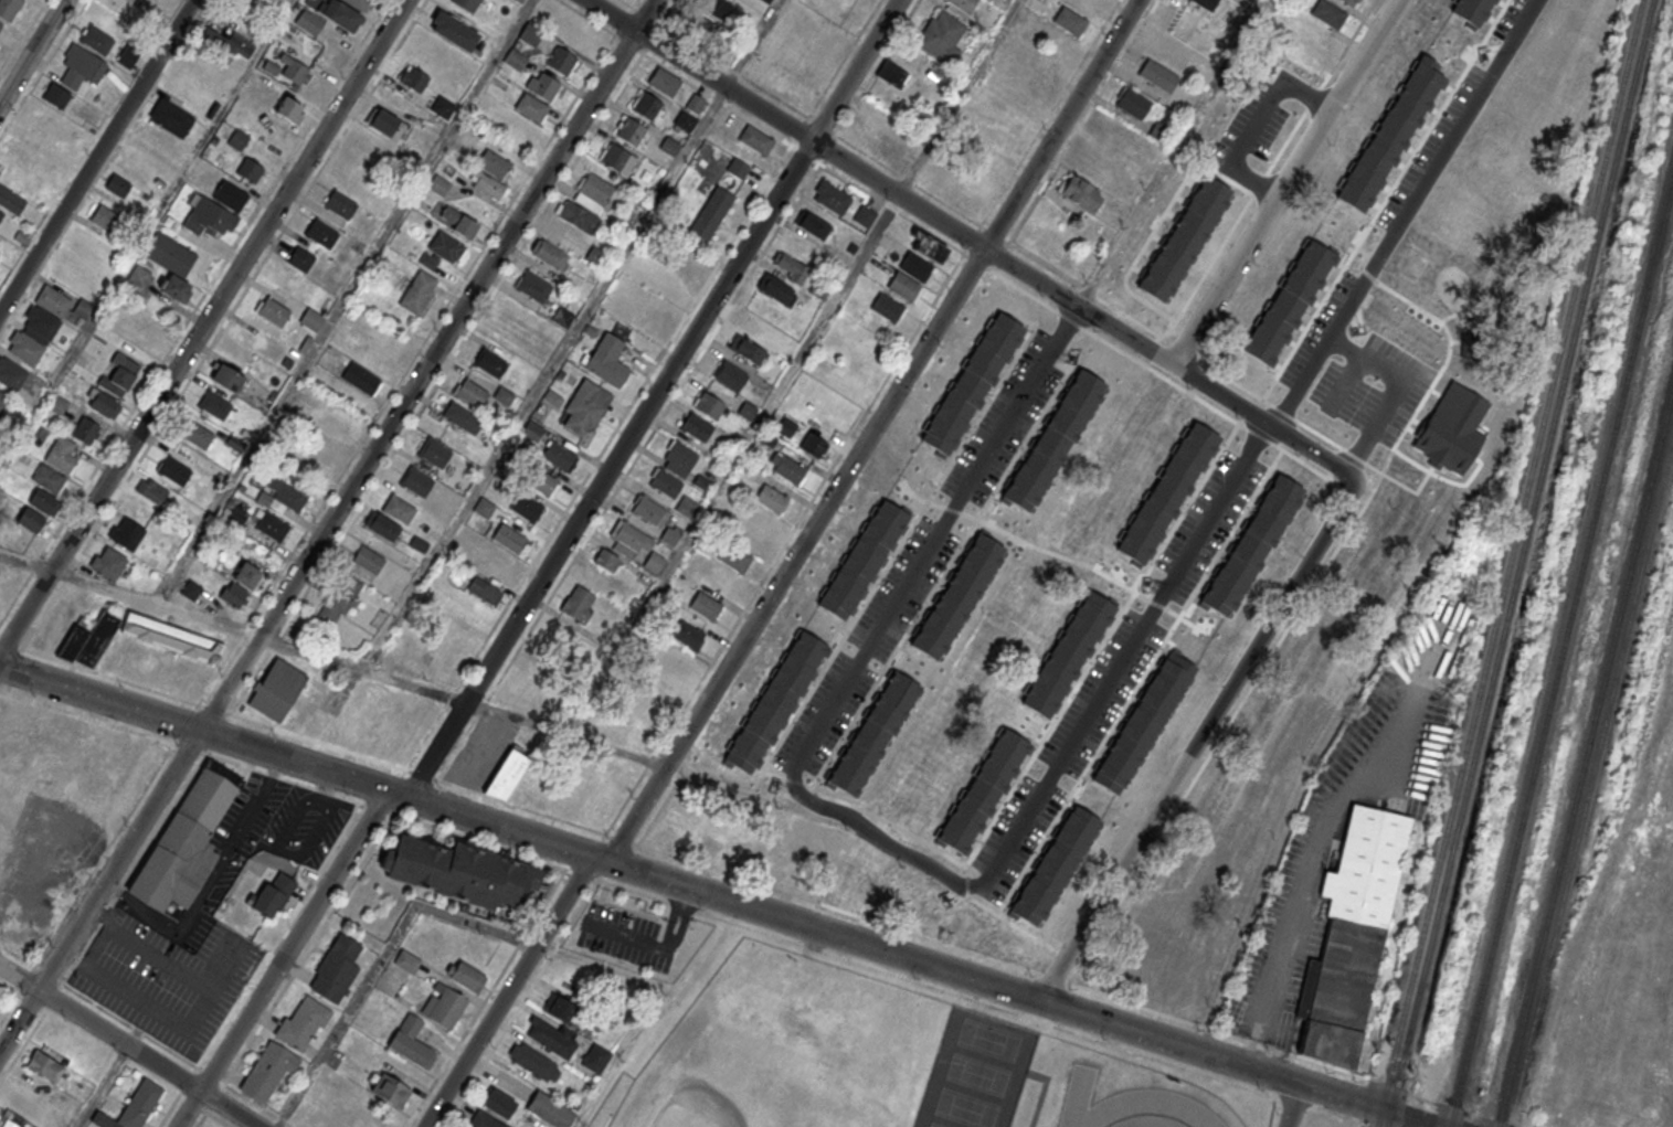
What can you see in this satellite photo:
building: (519, 0)
building: (766, 1)
building: (1349, 1)
building: (356, 3)
building: (1206, 3)
building: (466, 4)
building: (963, 4)
building: (716, 7)
building: (9, 8)
building: (1466, 10)
building: (1327, 13)
building: (342, 15)
building: (1070, 21)
building: (309, 22)
building: (1, 24)
building: (700, 28)
building: (454, 30)
building: (576, 33)
building: (530, 34)
road: (1353, 35)
building: (942, 36)
road: (23, 38)
building: (97, 40)
road: (754, 43)
building: (229, 44)
road: (32, 52)
road: (1364, 54)
building: (128, 56)
building: (515, 59)
building: (562, 60)
building: (82, 65)
building: (893, 74)
building: (1158, 75)
building: (413, 77)
building: (664, 81)
building: (543, 85)
building: (57, 96)
road: (960, 98)
building: (1132, 102)
building: (695, 103)
building: (647, 105)
building: (442, 106)
building: (531, 106)
building: (288, 109)
building: (1267, 110)
building: (170, 117)
building: (685, 120)
road: (1082, 121)
road: (1256, 121)
building: (384, 123)
road: (785, 124)
road: (1060, 124)
building: (631, 130)
road: (830, 130)
building: (1160, 130)
building: (1385, 135)
building: (1407, 136)
building: (864, 138)
building: (755, 139)
building: (1000, 139)
road: (1033, 139)
building: (669, 145)
building: (1150, 148)
road: (1172, 151)
road: (97, 156)
building: (617, 158)
building: (494, 162)
road: (103, 166)
building: (737, 167)
building: (251, 170)
building: (438, 184)
building: (117, 185)
building: (489, 185)
building: (595, 188)
building: (1081, 192)
building: (962, 194)
building: (230, 196)
building: (830, 196)
building: (11, 200)
road: (549, 202)
building: (340, 204)
building: (711, 212)
road: (1398, 213)
building: (1, 214)
building: (578, 215)
building: (865, 215)
building: (209, 216)
building: (107, 219)
building: (455, 219)
building: (812, 224)
building: (1349, 224)
road: (145, 231)
building: (321, 233)
road: (1252, 236)
road: (1007, 243)
building: (1179, 245)
building: (446, 246)
building: (929, 248)
building: (169, 253)
building: (548, 253)
building: (596, 256)
building: (300, 258)
building: (691, 262)
road: (1042, 264)
building: (790, 266)
building: (915, 266)
building: (139, 275)
road: (251, 278)
road: (210, 283)
building: (903, 285)
building: (533, 286)
building: (173, 287)
building: (775, 288)
building: (417, 291)
building: (53, 300)
road: (345, 301)
building: (1284, 302)
building: (887, 307)
building: (83, 308)
building: (272, 310)
building: (562, 317)
building: (311, 319)
building: (650, 319)
building: (743, 319)
road: (1066, 320)
building: (41, 321)
road: (202, 326)
road: (1087, 329)
building: (24, 347)
building: (748, 350)
building: (607, 360)
building: (1408, 360)
building: (489, 362)
building: (1262, 362)
building: (1082, 372)
building: (11, 373)
building: (731, 374)
building: (119, 375)
building: (226, 376)
building: (360, 378)
road: (543, 378)
road: (1344, 380)
building: (965, 384)
road: (1395, 389)
building: (472, 392)
building: (504, 395)
building: (551, 397)
building: (1341, 398)
building: (3, 401)
building: (100, 401)
building: (56, 403)
building: (214, 404)
building: (710, 404)
building: (585, 405)
building: (747, 410)
building: (460, 417)
building: (343, 418)
road: (1261, 418)
building: (1049, 425)
building: (697, 426)
building: (1447, 428)
building: (87, 430)
building: (532, 430)
building: (197, 434)
building: (955, 437)
building: (1049, 439)
road: (1258, 439)
building: (813, 445)
building: (434, 453)
building: (62, 454)
building: (558, 454)
road: (637, 456)
road: (597, 457)
building: (679, 457)
road: (735, 466)
building: (788, 469)
building: (173, 470)
building: (47, 477)
building: (539, 479)
building: (416, 480)
building: (701, 481)
building: (666, 482)
building: (923, 488)
building: (152, 490)
building: (1163, 491)
building: (284, 495)
building: (771, 497)
building: (43, 501)
building: (484, 507)
building: (525, 507)
building: (687, 507)
building: (399, 509)
building: (650, 510)
building: (1021, 512)
building: (1281, 514)
building: (236, 517)
building: (32, 520)
building: (380, 524)
road: (327, 525)
building: (272, 531)
building: (126, 533)
building: (669, 535)
building: (508, 538)
building: (628, 539)
road: (784, 542)
building: (1248, 543)
building: (857, 549)
building: (1372, 552)
road: (921, 553)
building: (734, 556)
building: (369, 559)
building: (606, 560)
building: (108, 562)
building: (489, 562)
building: (654, 562)
railway: (1512, 563)
railway: (1523, 563)
road: (544, 573)
building: (240, 585)
building: (191, 589)
building: (485, 591)
building: (955, 598)
building: (338, 600)
building: (579, 604)
building: (703, 605)
building: (686, 634)
building: (171, 637)
building: (833, 637)
building: (88, 638)
building: (1322, 647)
building: (1066, 652)
road: (333, 659)
building: (678, 660)
road: (1116, 662)
railway: (1563, 666)
building: (801, 688)
building: (276, 689)
road: (712, 693)
building: (908, 695)
railway: (1656, 699)
building: (773, 703)
building: (648, 708)
building: (1026, 719)
building: (1266, 723)
building: (1141, 725)
road: (282, 730)
building: (873, 733)
road: (1199, 741)
parking lot: (480, 749)
building: (506, 768)
railway: (1586, 772)
railway: (1597, 785)
building: (976, 791)
building: (1224, 807)
road: (658, 810)
road: (315, 822)
road: (280, 829)
road: (379, 834)
road: (883, 839)
building: (184, 844)
parking lot: (250, 848)
building: (1051, 863)
building: (462, 872)
road: (837, 873)
road: (208, 882)
building: (1168, 883)
road: (875, 886)
road: (1303, 891)
building: (271, 894)
road: (684, 896)
road: (718, 897)
building: (922, 903)
road: (690, 908)
road: (671, 918)
road: (680, 922)
building: (999, 927)
building: (1353, 932)
road: (919, 934)
parking lot: (624, 936)
road: (629, 938)
road: (380, 960)
building: (406, 960)
building: (336, 968)
building: (466, 975)
building: (1152, 979)
parking lot: (161, 980)
road: (659, 987)
road: (486, 998)
road: (13, 1000)
road: (520, 1002)
building: (444, 1004)
road: (40, 1019)
building: (301, 1022)
road: (129, 1024)
building: (552, 1036)
park: (989, 1040)
building: (410, 1041)
road: (130, 1045)
building: (595, 1059)
building: (532, 1061)
building: (45, 1065)
building: (268, 1070)
park: (977, 1074)
park: (713, 1082)
road: (104, 1086)
building: (390, 1089)
road: (178, 1096)
building: (140, 1103)
building: (498, 1103)
building: (21, 1104)
road: (258, 1105)
road: (1293, 1105)
park: (966, 1108)
building: (549, 1109)
road: (201, 1119)
road: (219, 1119)
building: (104, 1120)
building: (483, 1120)
park: (936, 1125)

